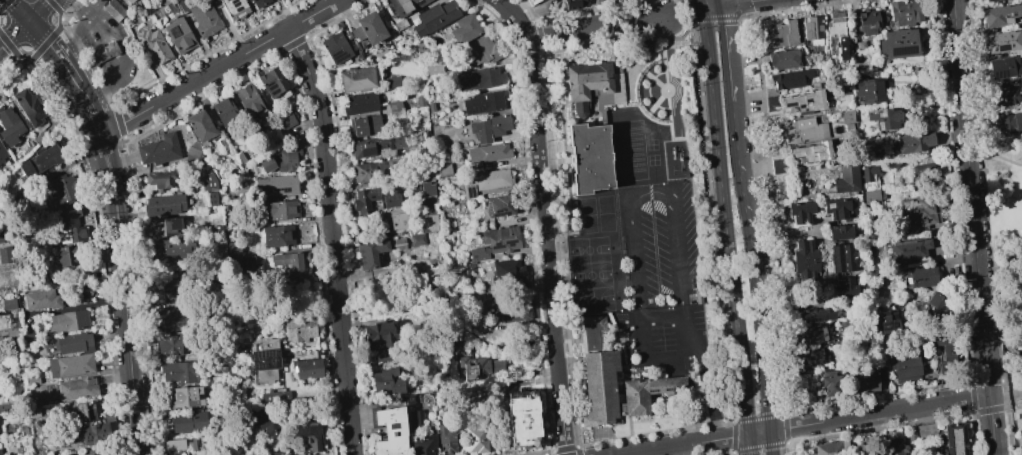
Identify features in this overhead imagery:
rooftop solar panel: (234, 0)
building: (248, 0)
building: (988, 0)
building: (129, 1)
building: (259, 3)
building: (576, 3)
road: (719, 3)
road: (740, 3)
road: (700, 5)
building: (405, 6)
building: (232, 7)
rooftop solar panel: (236, 7)
traffic signals: (721, 7)
road: (711, 8)
road: (18, 10)
road: (38, 10)
traffic signals: (702, 10)
building: (115, 11)
building: (905, 12)
building: (1000, 15)
building: (204, 18)
building: (434, 18)
traffic signals: (28, 21)
building: (867, 22)
building: (399, 25)
road: (598, 27)
building: (368, 28)
building: (465, 28)
building: (812, 30)
building: (781, 34)
road: (13, 35)
road: (75, 35)
building: (179, 35)
building: (836, 36)
building: (1002, 41)
building: (898, 43)
road: (104, 44)
building: (152, 44)
building: (335, 47)
building: (114, 48)
road: (53, 49)
building: (479, 50)
road: (123, 51)
road: (727, 53)
rooftop solar panel: (904, 53)
road: (98, 54)
building: (101, 54)
rooftop solar panel: (337, 56)
building: (783, 59)
road: (219, 67)
building: (433, 67)
building: (1002, 67)
rooftop solar panel: (1001, 75)
building: (480, 78)
building: (790, 78)
building: (356, 79)
rooftop solar panel: (269, 80)
building: (391, 81)
building: (272, 83)
rooftop solar panel: (269, 85)
building: (595, 88)
rooftop solar panel: (273, 89)
building: (869, 90)
building: (1008, 94)
building: (247, 99)
building: (419, 101)
building: (484, 102)
building: (804, 102)
rooftop solar panel: (808, 102)
building: (360, 103)
building: (29, 107)
building: (431, 107)
rooftop solar panel: (789, 107)
road: (86, 108)
rooftop solar panel: (801, 108)
building: (395, 109)
rooftop solar panel: (479, 109)
building: (224, 111)
building: (846, 116)
rooftop solar panel: (881, 116)
building: (284, 119)
building: (884, 119)
building: (1013, 120)
building: (200, 126)
building: (364, 126)
building: (9, 127)
building: (489, 127)
rooftop solar panel: (880, 128)
building: (803, 130)
building: (913, 142)
road: (965, 142)
building: (375, 145)
park: (651, 145)
building: (158, 150)
building: (487, 152)
building: (811, 152)
road: (994, 152)
building: (2, 153)
rooftop solar panel: (369, 153)
building: (196, 155)
building: (590, 158)
building: (285, 159)
park: (653, 160)
building: (39, 161)
building: (266, 164)
building: (778, 166)
building: (923, 168)
building: (376, 170)
building: (444, 170)
building: (868, 173)
park: (654, 176)
building: (162, 178)
building: (488, 179)
building: (847, 180)
building: (208, 182)
building: (276, 185)
rooftop solar panel: (279, 189)
building: (426, 189)
building: (64, 190)
building: (468, 191)
rooftop solar panel: (61, 192)
rooftop solar panel: (467, 192)
rooftop solar panel: (473, 194)
building: (871, 196)
building: (208, 198)
building: (374, 198)
road: (635, 198)
rooftop solar panel: (489, 204)
park: (600, 204)
building: (164, 205)
building: (499, 205)
building: (837, 208)
building: (281, 210)
rooftop solar panel: (497, 210)
building: (800, 211)
building: (916, 212)
road: (117, 215)
building: (69, 219)
building: (397, 220)
road: (544, 222)
park: (601, 222)
building: (429, 223)
building: (163, 227)
building: (840, 231)
road: (725, 232)
building: (72, 234)
building: (872, 235)
building: (1, 236)
building: (277, 236)
road: (784, 236)
road: (333, 239)
building: (417, 239)
building: (500, 239)
park: (573, 243)
park: (600, 245)
building: (173, 249)
building: (908, 250)
building: (376, 252)
building: (803, 252)
building: (478, 254)
building: (5, 255)
building: (65, 256)
park: (575, 258)
building: (842, 258)
road: (997, 261)
building: (291, 264)
park: (1007, 264)
road: (751, 265)
building: (805, 271)
building: (508, 273)
park: (602, 273)
park: (575, 274)
building: (921, 276)
parking lot: (666, 277)
road: (1001, 279)
building: (845, 287)
building: (86, 289)
road: (662, 290)
building: (698, 291)
building: (162, 292)
road: (828, 296)
park: (598, 299)
building: (41, 300)
building: (939, 303)
building: (8, 304)
road: (981, 311)
building: (508, 312)
building: (815, 315)
road: (662, 316)
building: (169, 320)
building: (889, 321)
building: (66, 322)
building: (299, 329)
building: (9, 334)
building: (807, 334)
building: (378, 335)
building: (70, 343)
building: (167, 345)
rooftop solar panel: (254, 352)
rooftop solar panel: (264, 352)
building: (945, 353)
road: (1015, 355)
building: (381, 356)
building: (809, 357)
rooftop solar panel: (271, 358)
building: (264, 359)
rooftop solar panel: (254, 360)
rooftop solar panel: (261, 364)
building: (70, 365)
building: (903, 366)
building: (305, 368)
building: (482, 368)
road: (1009, 368)
building: (179, 372)
road: (131, 376)
building: (616, 378)
building: (864, 380)
building: (386, 381)
road: (996, 381)
building: (830, 383)
building: (76, 389)
building: (273, 395)
road: (989, 395)
building: (185, 396)
road: (709, 396)
road: (877, 397)
road: (972, 398)
building: (5, 407)
building: (84, 411)
building: (413, 412)
road: (878, 412)
road: (758, 416)
building: (522, 418)
building: (187, 422)
rooftop solar panel: (92, 426)
rooftop solar panel: (95, 427)
road: (785, 428)
road: (879, 428)
rooftop solar panel: (308, 429)
building: (264, 430)
building: (925, 431)
building: (390, 432)
building: (93, 433)
building: (911, 433)
road: (973, 434)
road: (732, 436)
rooftop solar panel: (87, 437)
building: (308, 437)
rooftop solar panel: (188, 439)
building: (954, 439)
rooftop solar panel: (89, 440)
building: (475, 440)
building: (445, 441)
road: (698, 442)
road: (770, 442)
building: (189, 444)
building: (173, 445)
building: (424, 446)
building: (895, 447)
road: (758, 448)
building: (827, 448)
road: (792, 449)
road: (682, 450)
building: (269, 453)
building: (0, 454)

